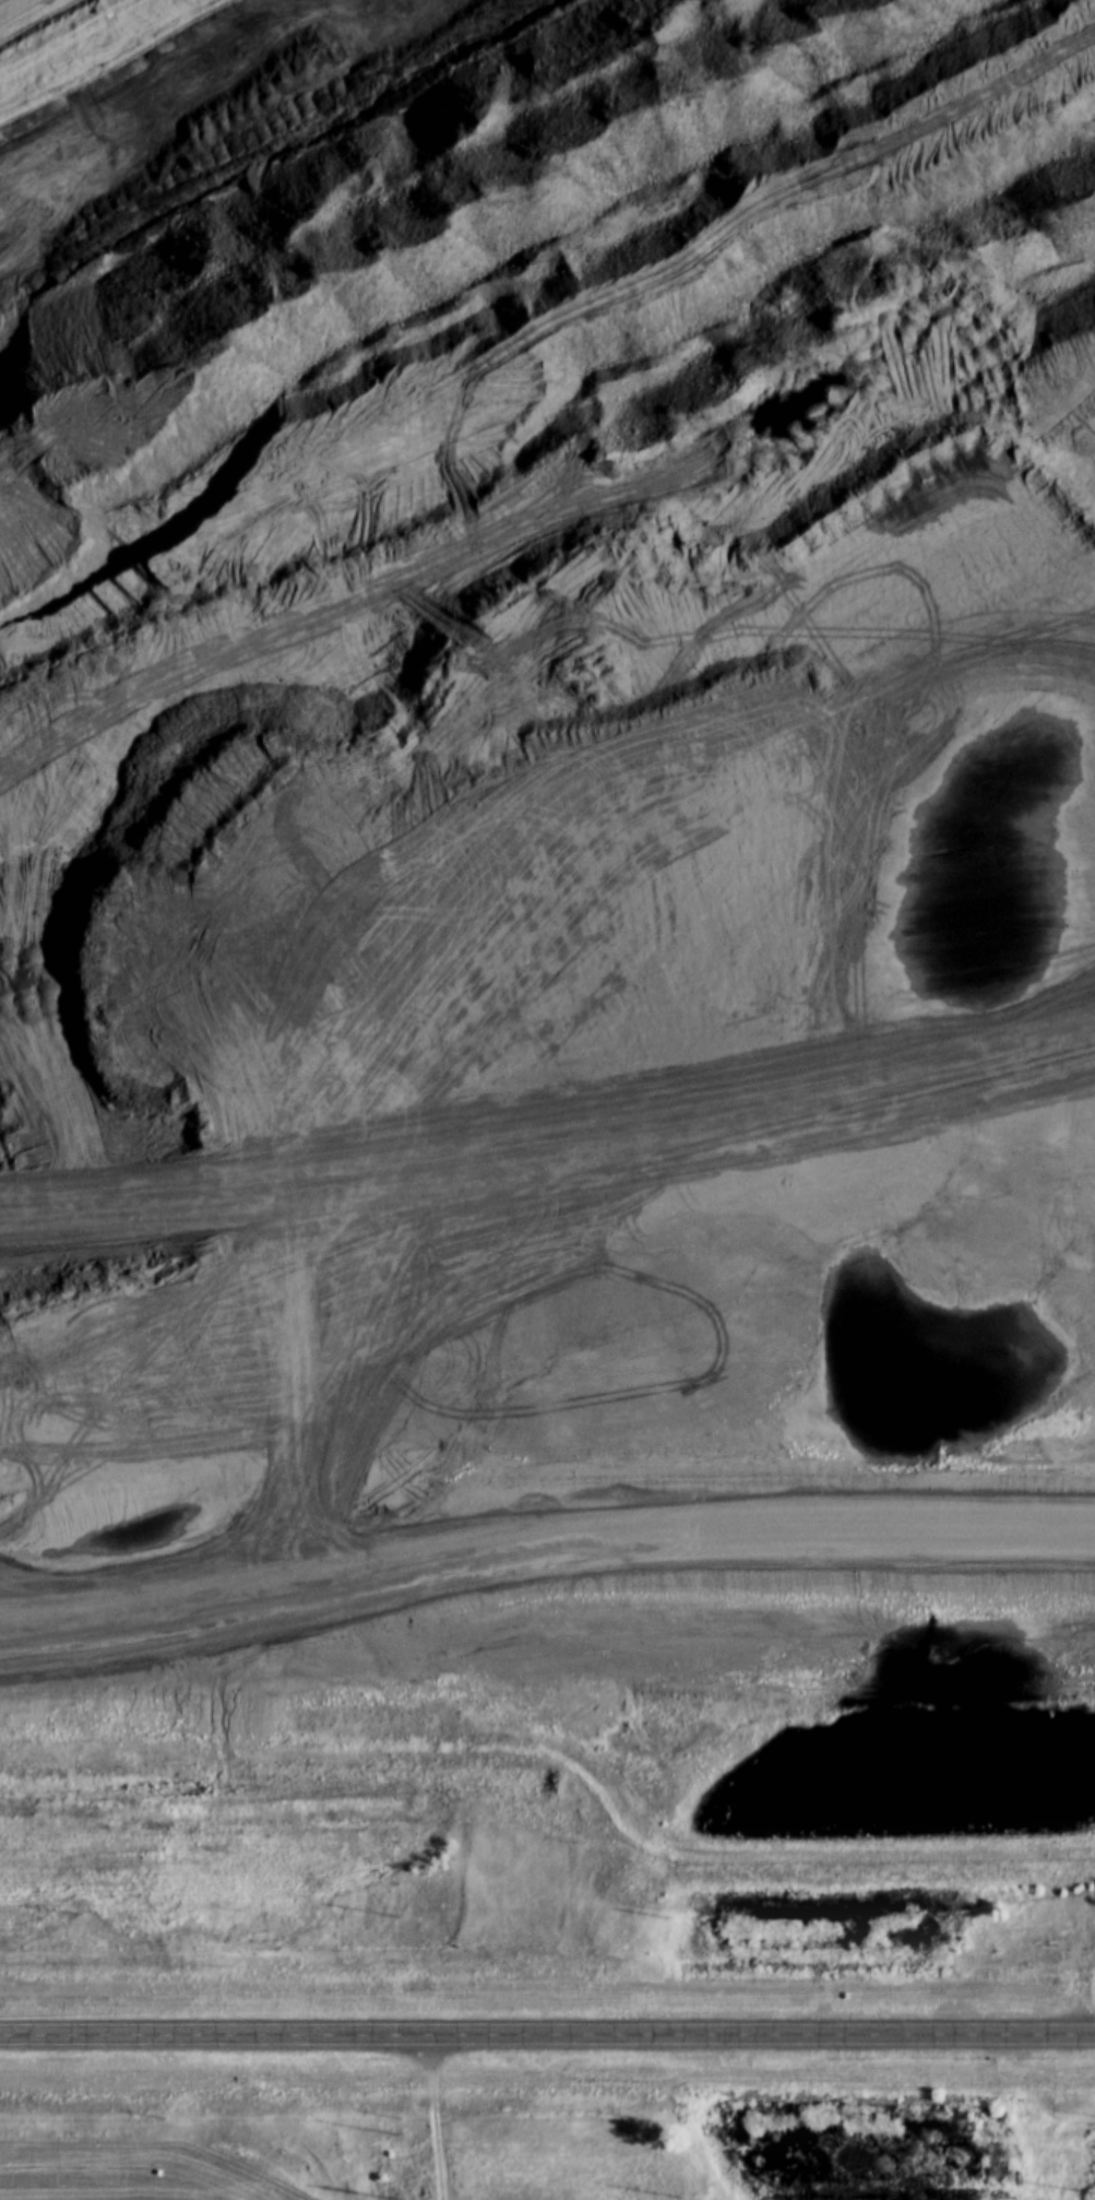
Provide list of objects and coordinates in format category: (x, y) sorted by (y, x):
road: (547, 2032)
quarry: (615, 2189)

